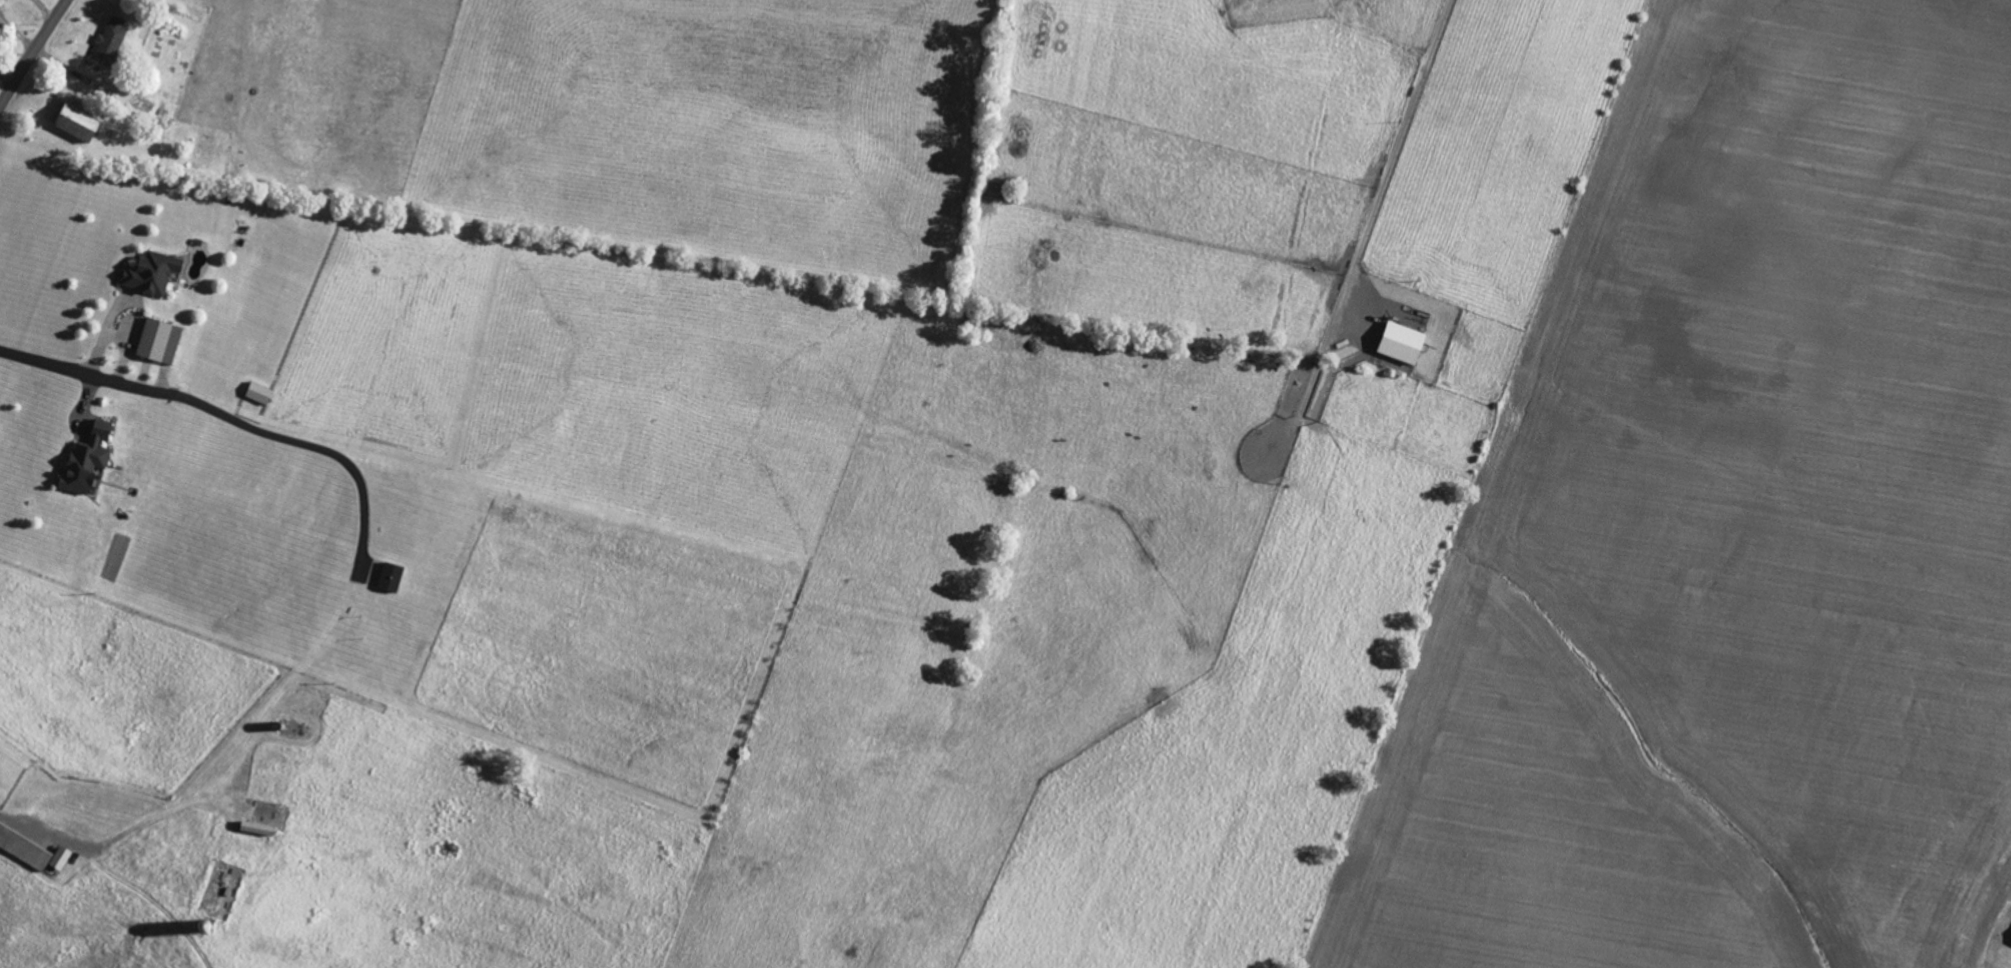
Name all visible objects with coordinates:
building: (109, 41)
road: (33, 53)
road: (8, 76)
building: (75, 120)
road: (1399, 145)
building: (150, 273)
building: (158, 341)
building: (1400, 346)
road: (81, 371)
building: (258, 393)
building: (85, 460)
building: (389, 576)
building: (255, 827)
building: (23, 848)
building: (59, 857)

